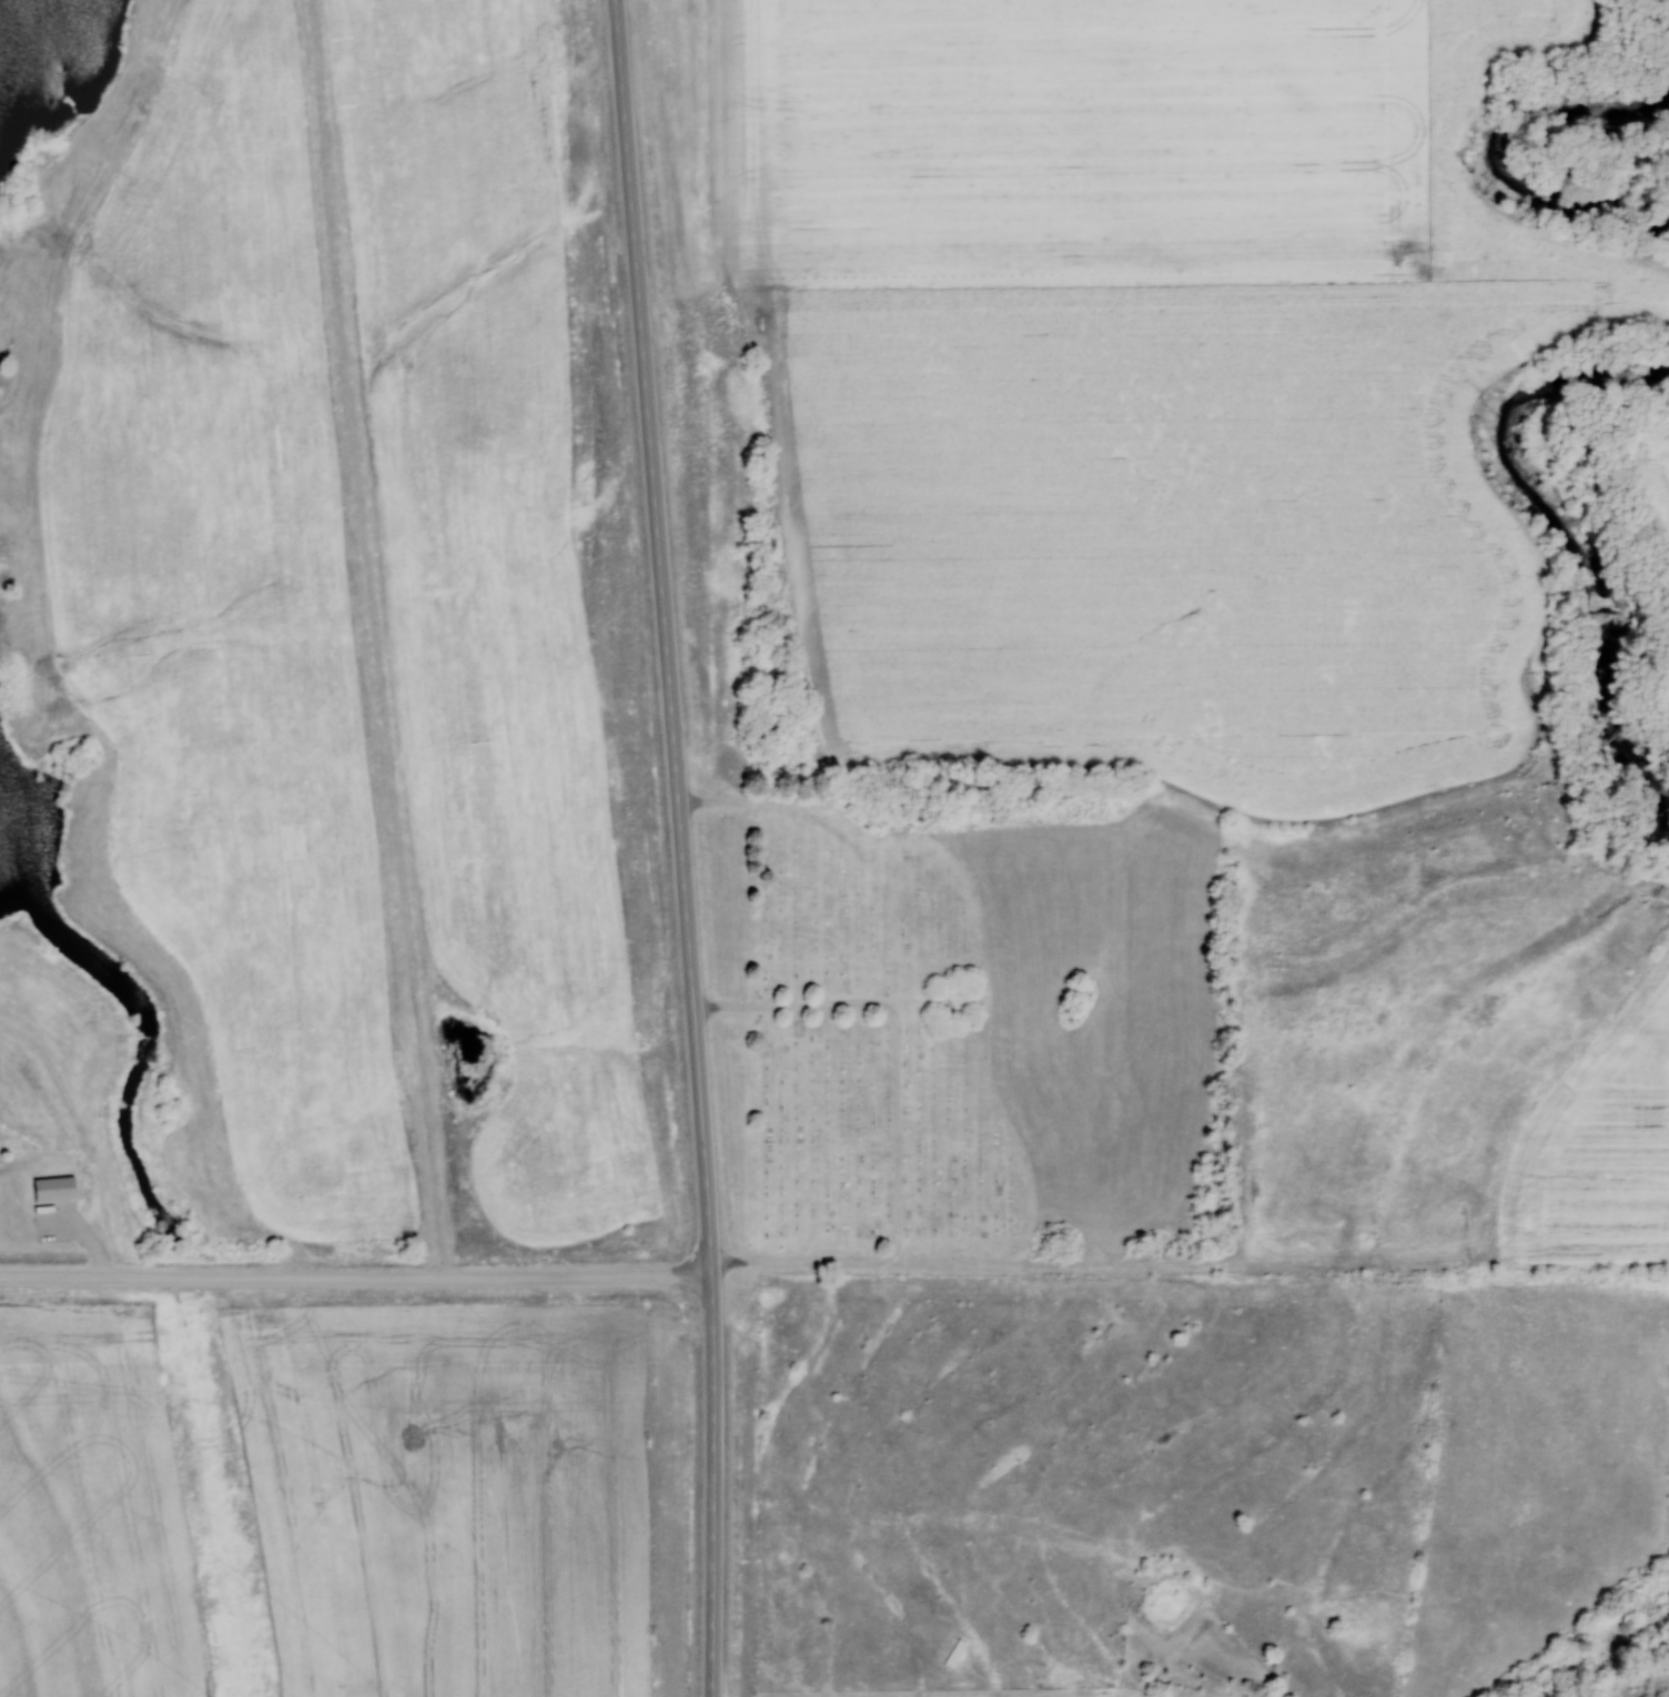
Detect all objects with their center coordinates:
road: (661, 632)
park: (963, 1023)
road: (898, 1122)
building: (54, 1188)
road: (355, 1276)
road: (711, 1479)

